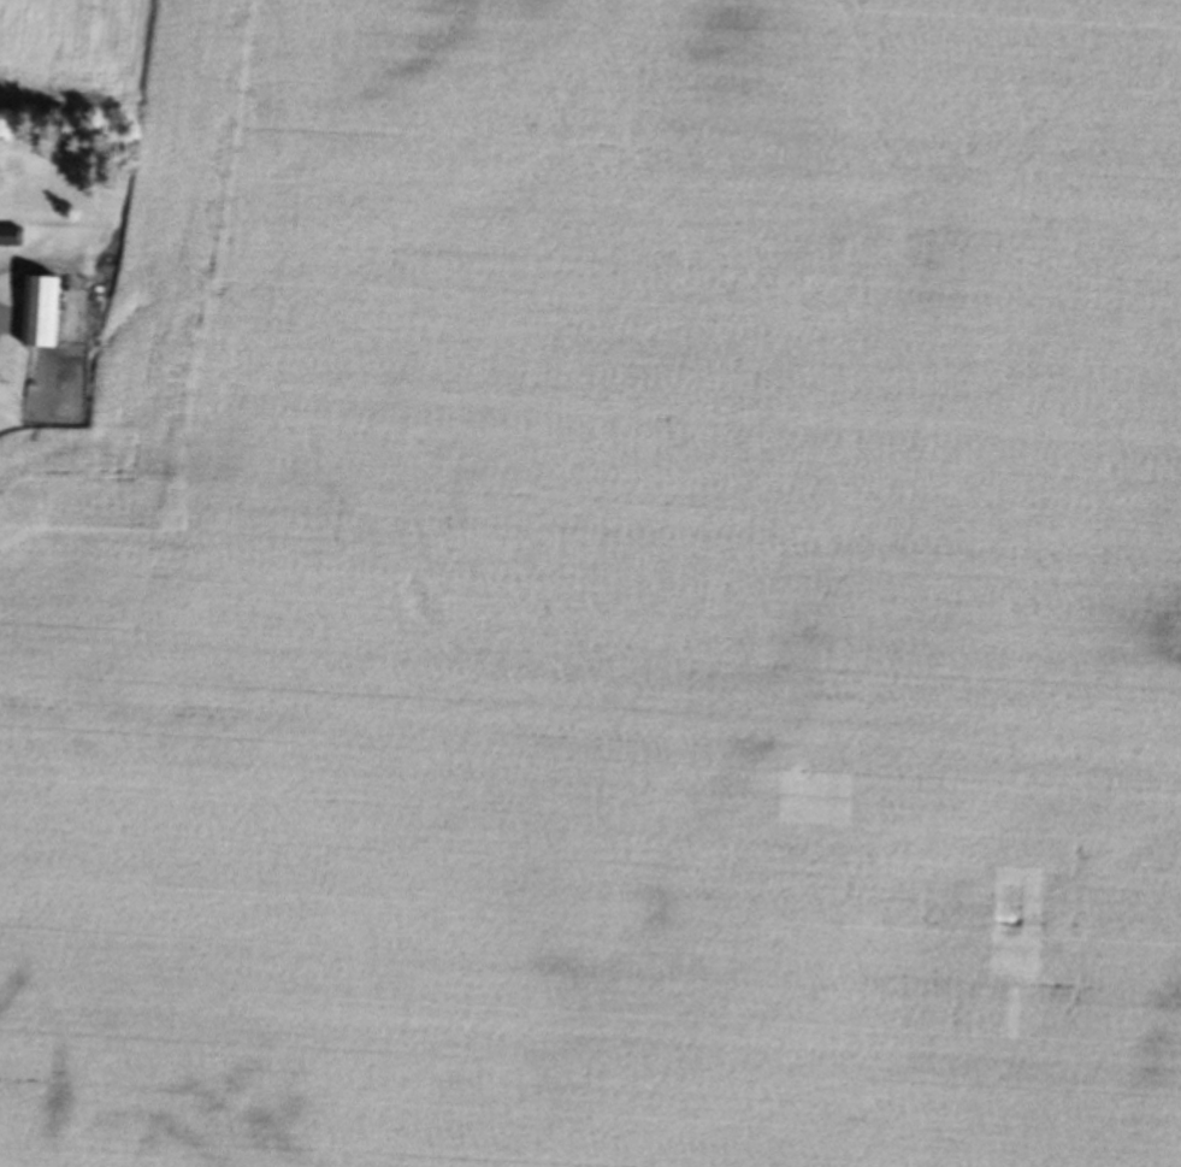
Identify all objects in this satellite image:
building: (13, 240)
building: (47, 316)

